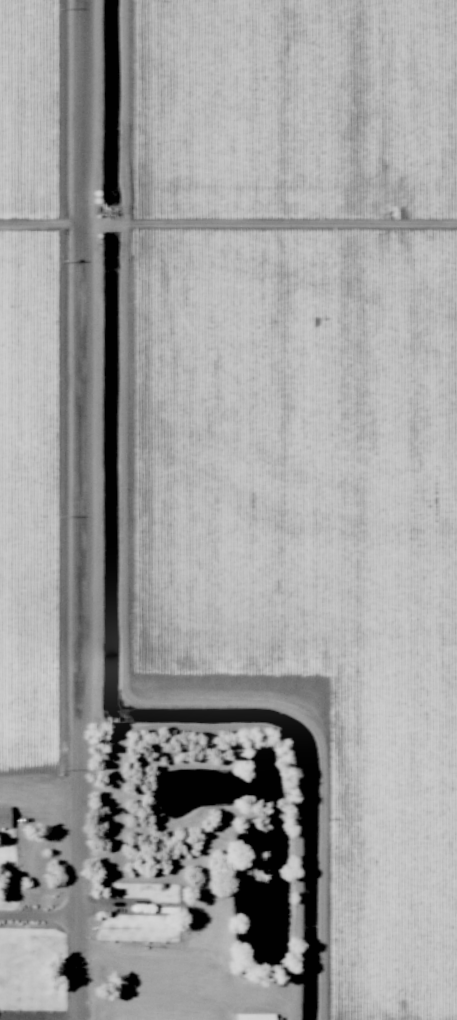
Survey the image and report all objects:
crop: (43, 356)
crop: (288, 433)
road: (66, 510)
crop: (195, 865)
crop: (43, 866)
road: (32, 914)

